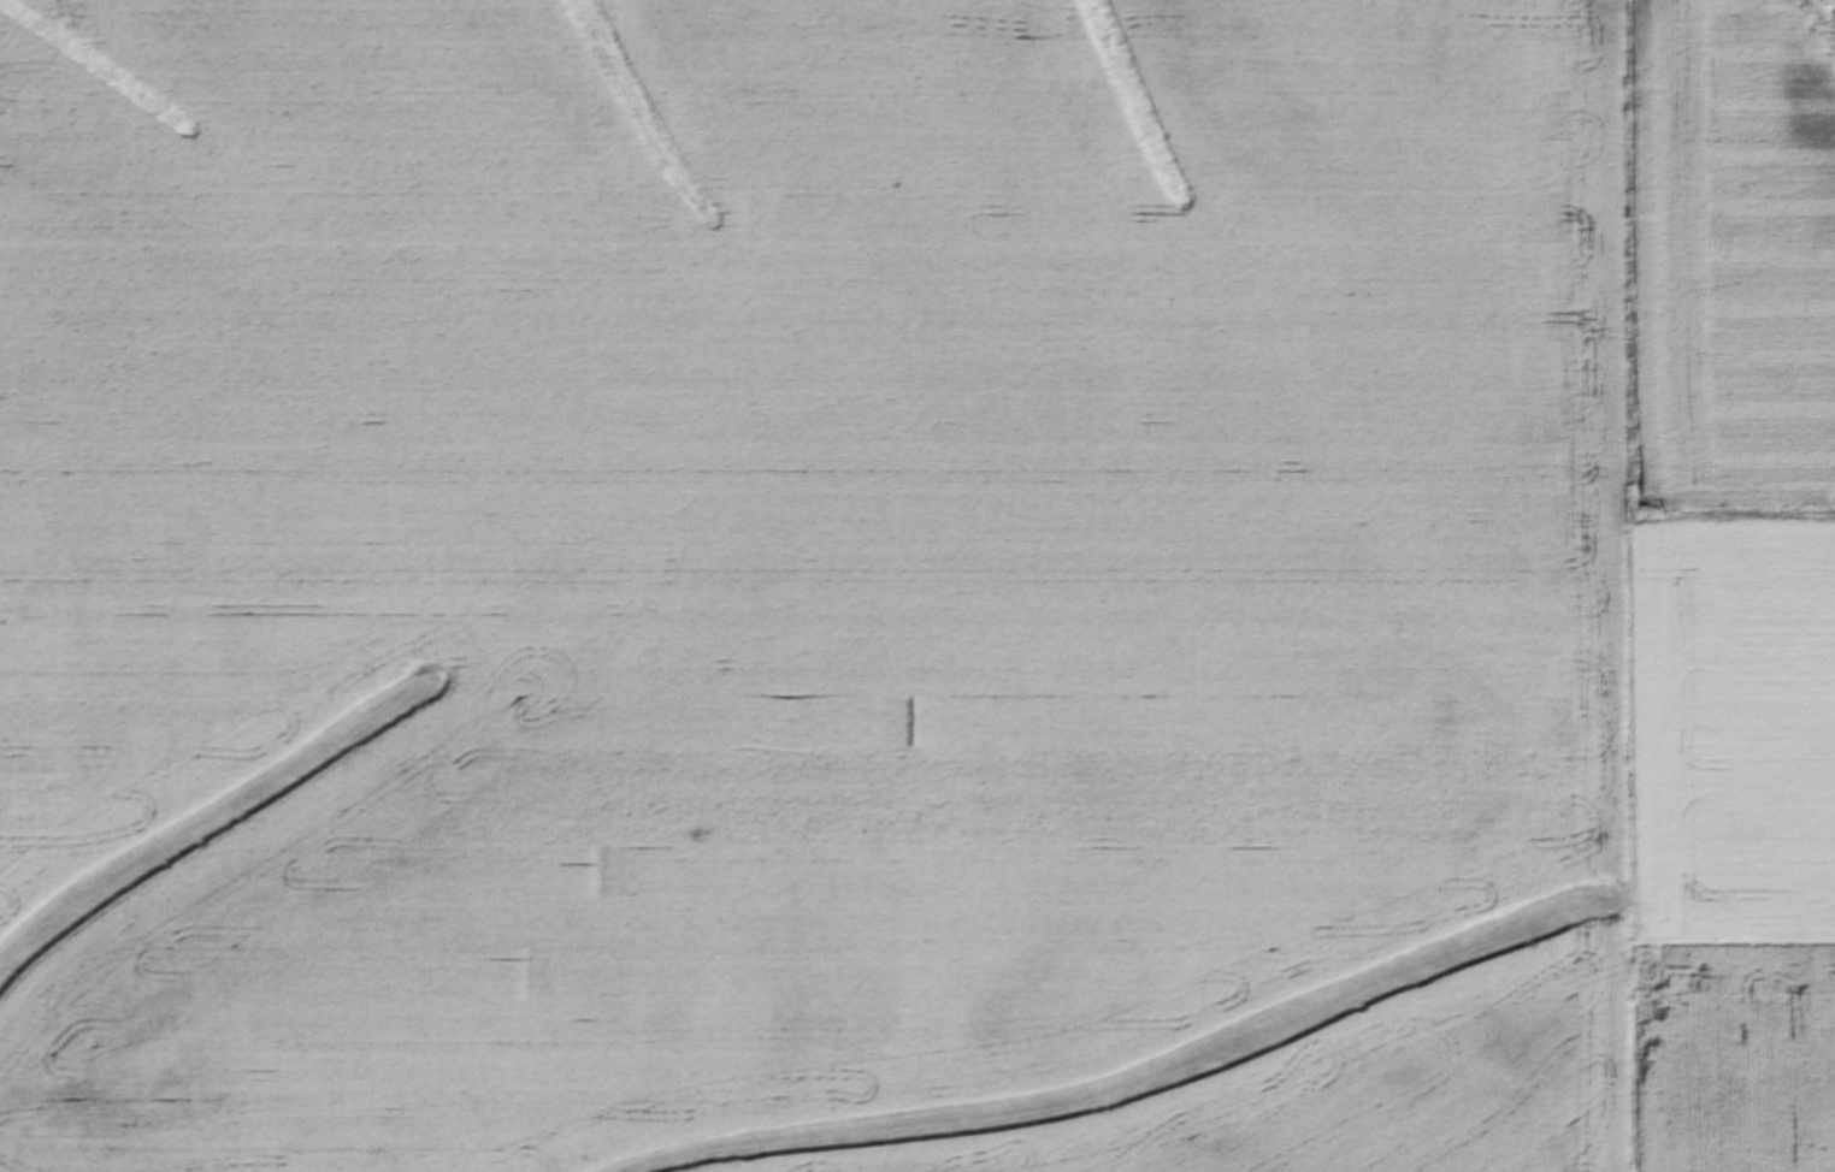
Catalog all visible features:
building: (6, 602)

